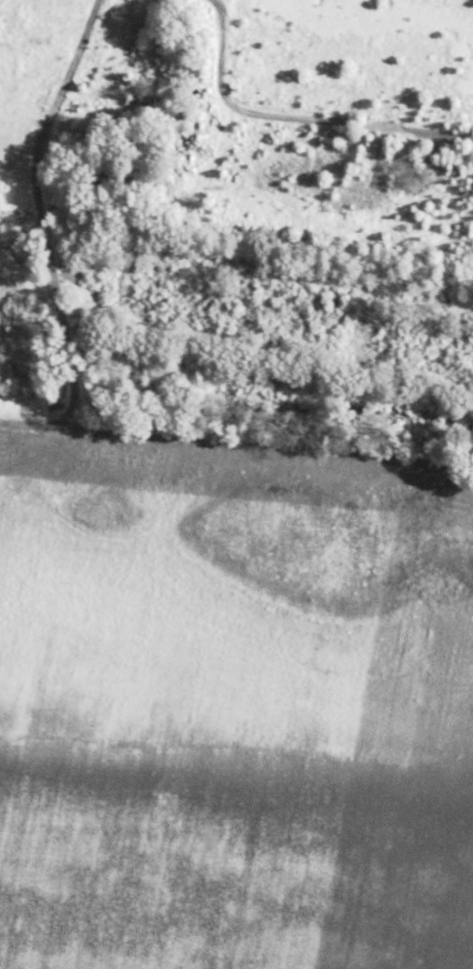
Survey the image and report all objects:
road: (44, 238)

